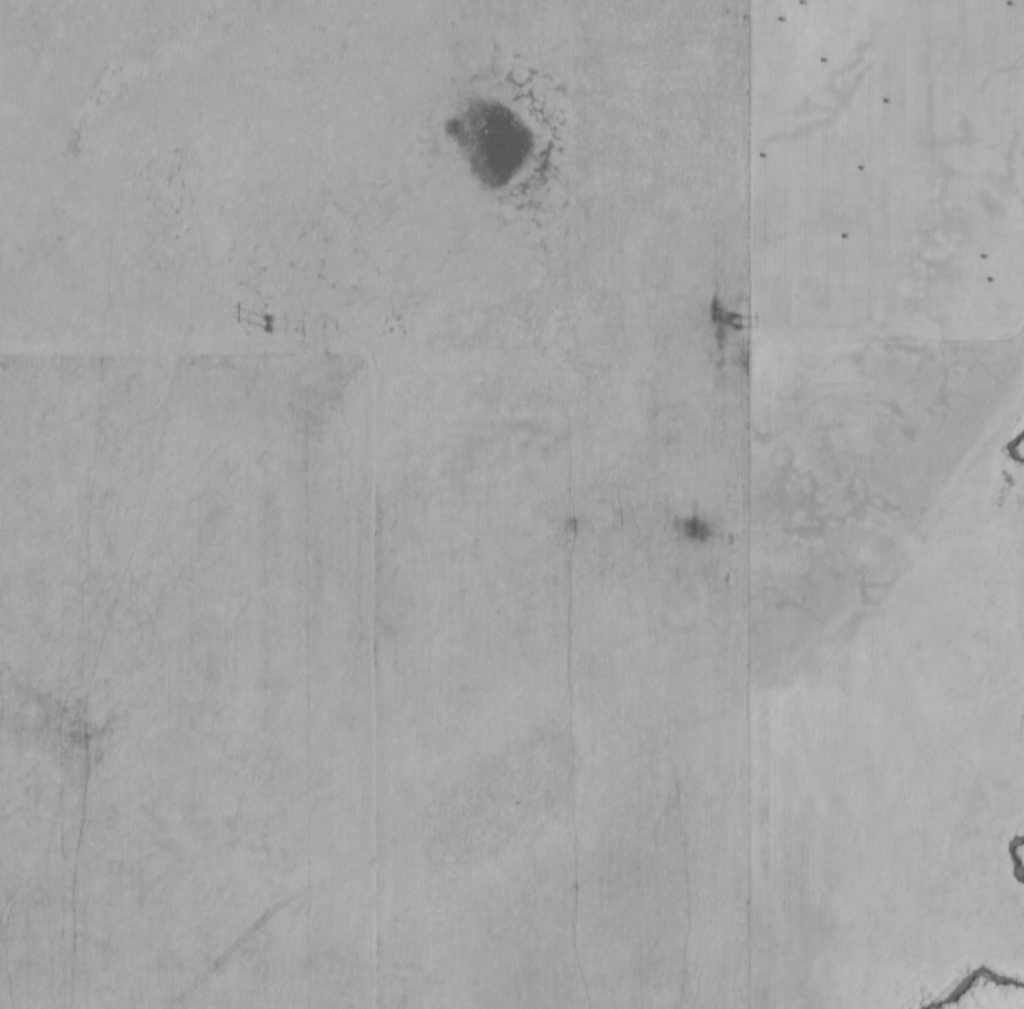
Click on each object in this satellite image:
power tower: (739, 323)
power tower: (268, 324)
river: (1015, 448)
river: (1018, 856)
river: (973, 977)

